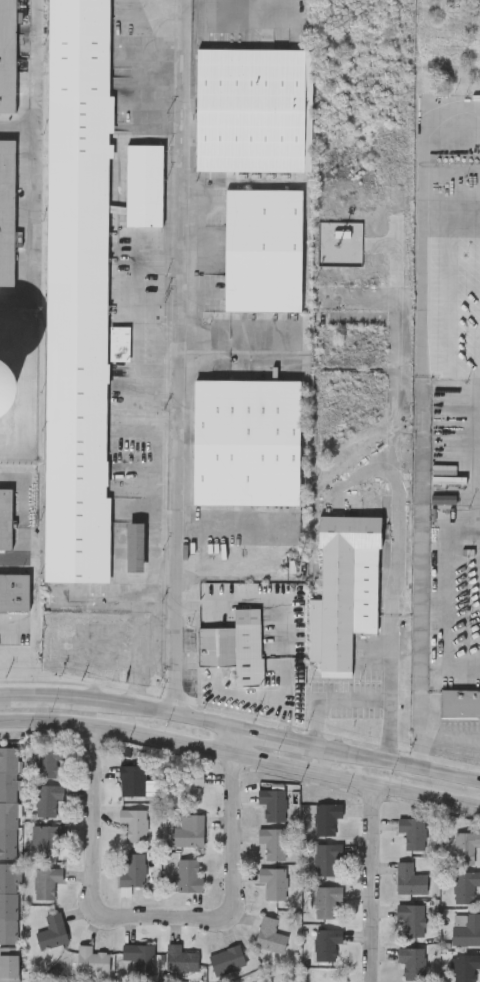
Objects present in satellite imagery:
road: (234, 10)
road: (179, 52)
building: (7, 56)
building: (254, 111)
road: (16, 128)
road: (32, 157)
building: (144, 187)
building: (6, 213)
building: (262, 252)
building: (76, 291)
road: (234, 354)
building: (3, 393)
road: (175, 407)
building: (246, 443)
building: (5, 519)
road: (402, 520)
road: (232, 521)
building: (134, 549)
road: (446, 581)
building: (14, 592)
building: (343, 592)
road: (287, 636)
building: (235, 648)
road: (438, 673)
building: (370, 683)
building: (460, 704)
road: (287, 723)
road: (241, 727)
road: (429, 729)
road: (398, 731)
road: (454, 741)
road: (240, 753)
building: (46, 758)
building: (131, 779)
building: (187, 784)
building: (46, 798)
building: (8, 800)
building: (271, 803)
building: (325, 817)
building: (132, 823)
road: (90, 826)
building: (187, 830)
building: (411, 831)
building: (49, 840)
building: (465, 845)
building: (326, 856)
building: (131, 869)
building: (187, 875)
road: (229, 876)
building: (409, 878)
building: (45, 881)
building: (272, 881)
road: (369, 882)
building: (465, 884)
building: (326, 899)
building: (8, 900)
building: (410, 918)
building: (465, 927)
building: (51, 930)
building: (268, 934)
building: (326, 942)
building: (138, 956)
building: (91, 958)
building: (179, 958)
building: (226, 959)
building: (411, 961)
building: (8, 964)
building: (465, 966)

